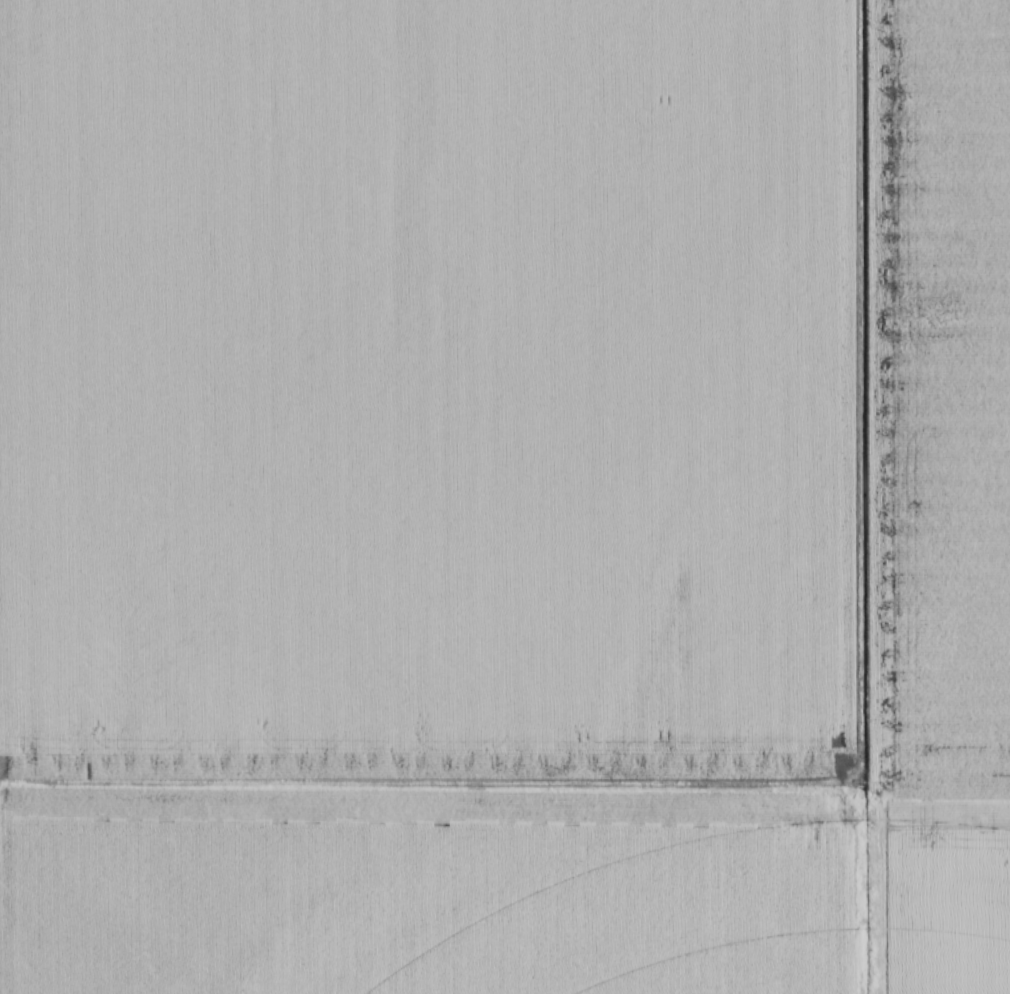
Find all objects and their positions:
crop: (505, 497)

